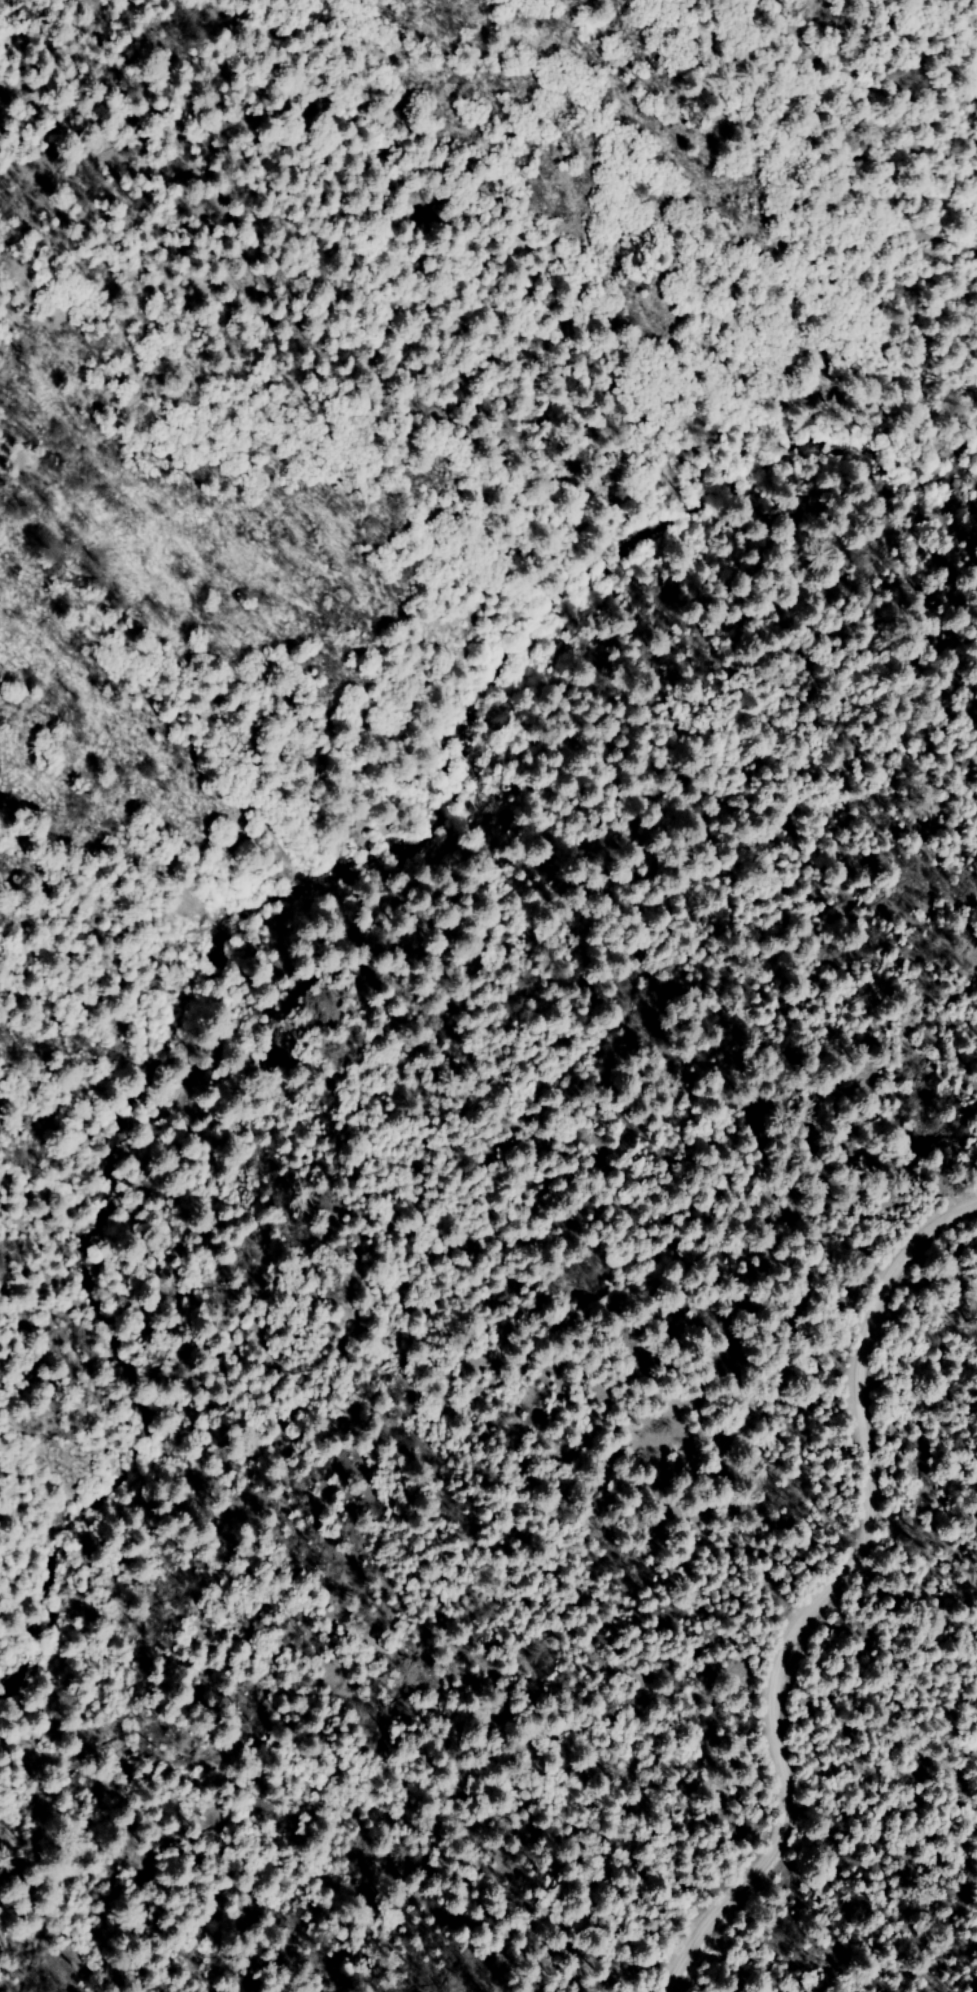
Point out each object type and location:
road: (831, 1600)

